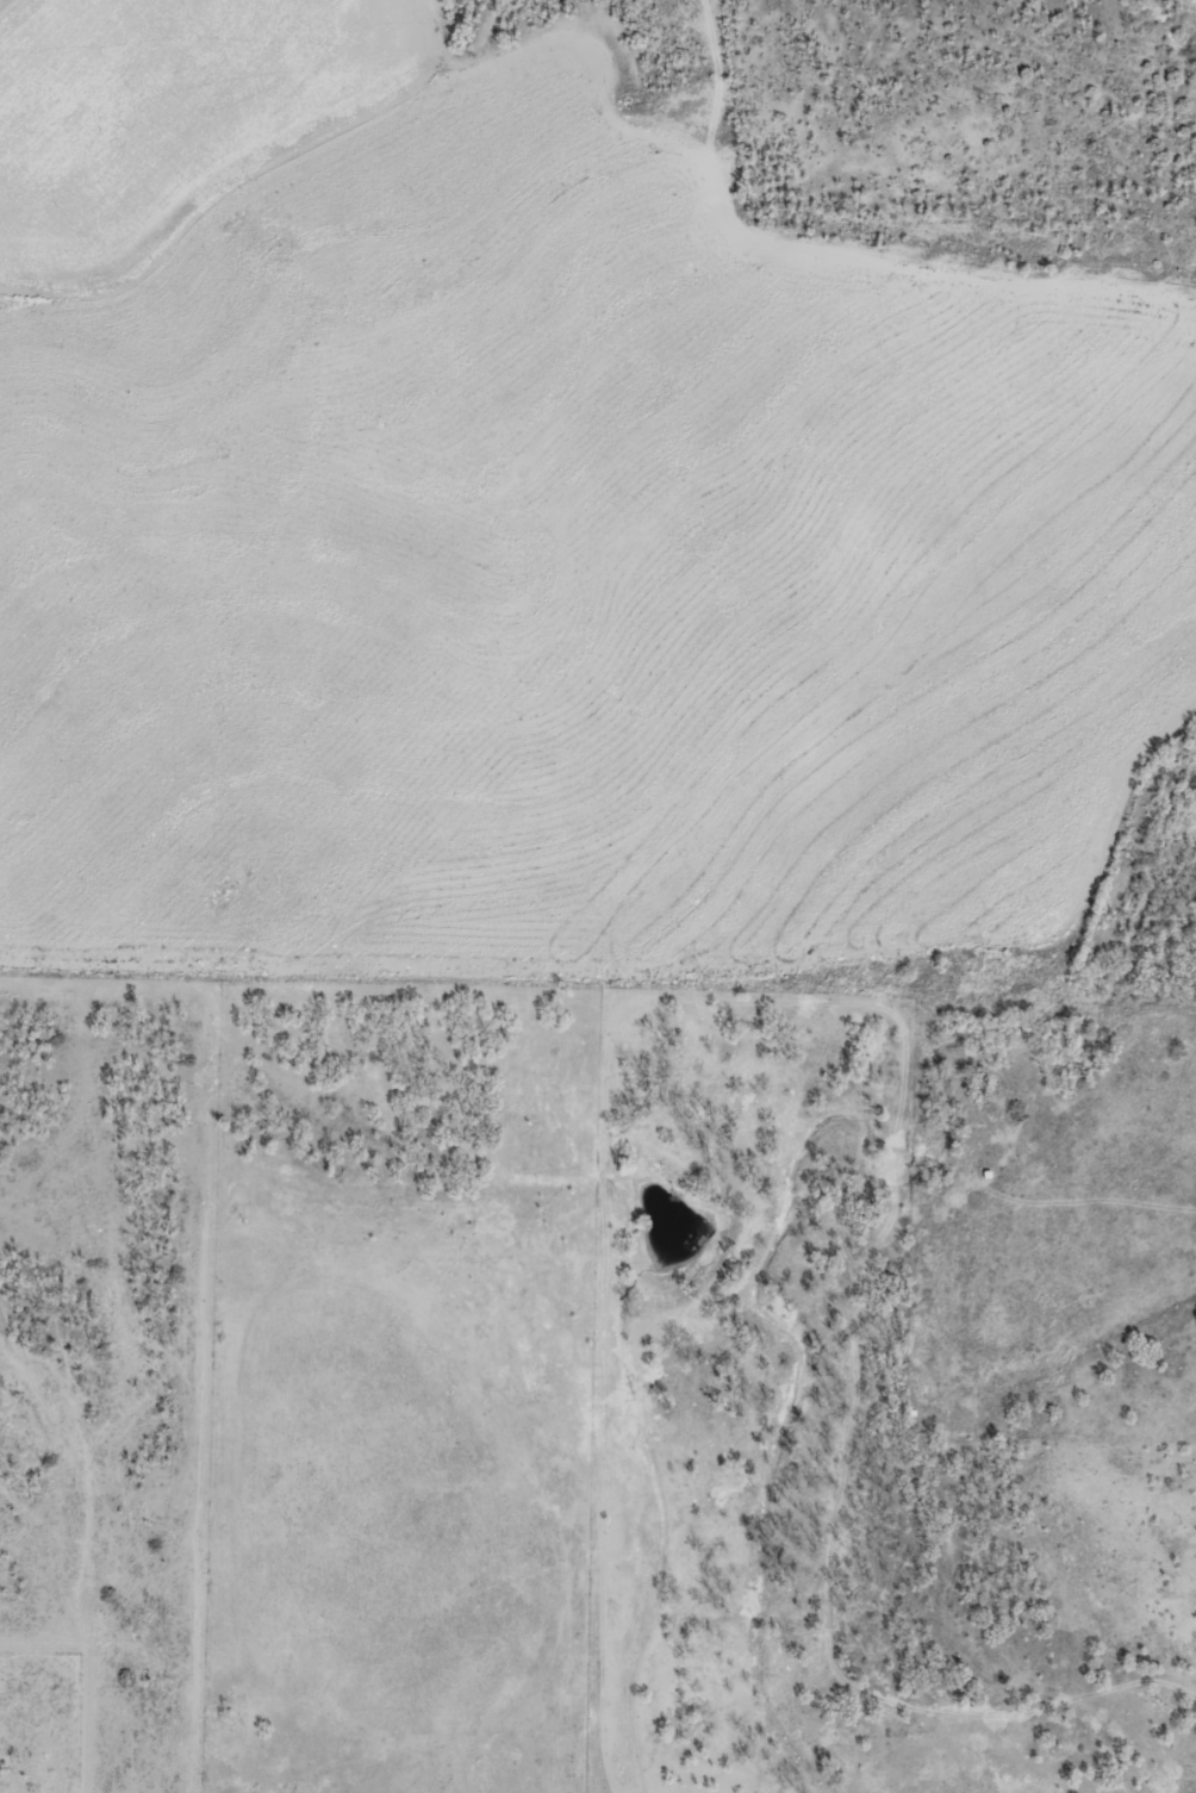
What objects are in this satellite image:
road: (655, 1649)

